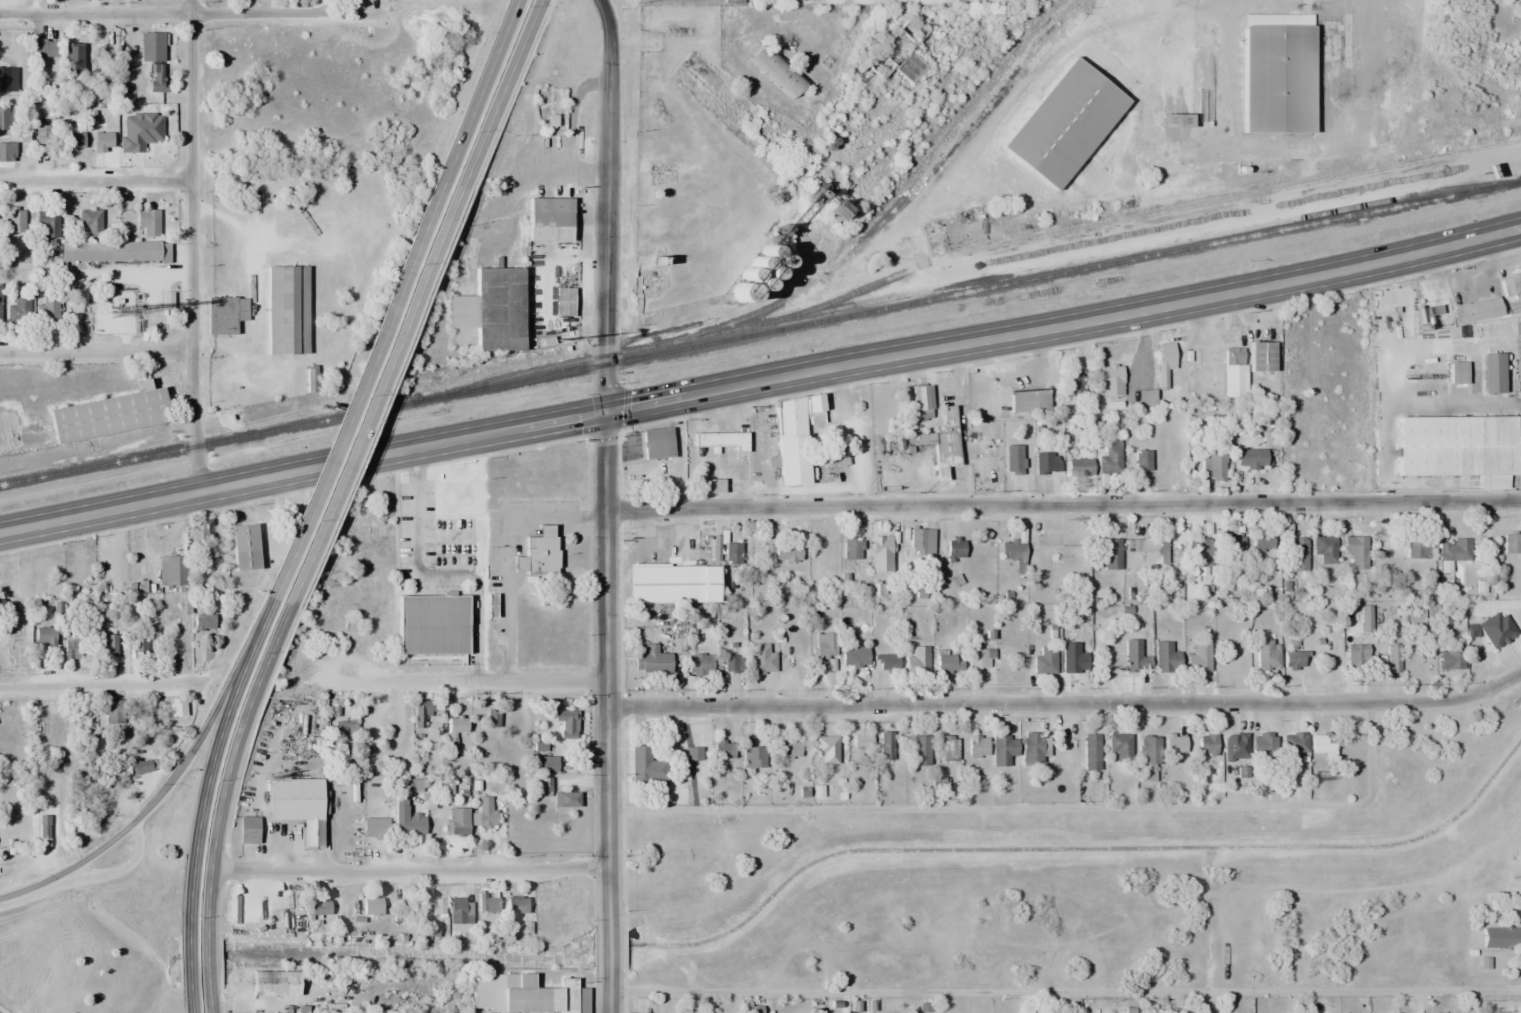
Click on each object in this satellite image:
road: (187, 13)
building: (154, 46)
building: (43, 48)
building: (72, 54)
building: (1276, 73)
building: (159, 75)
building: (7, 79)
road: (492, 92)
building: (5, 118)
building: (1063, 123)
building: (40, 135)
building: (73, 140)
building: (102, 142)
building: (5, 152)
road: (96, 181)
building: (548, 219)
building: (15, 220)
building: (147, 222)
building: (46, 223)
building: (90, 223)
road: (192, 245)
building: (114, 251)
building: (17, 307)
building: (113, 308)
building: (46, 309)
building: (240, 309)
building: (286, 309)
building: (490, 309)
building: (1475, 310)
railway: (759, 328)
road: (96, 351)
building: (1260, 356)
building: (1233, 373)
building: (1109, 379)
road: (761, 382)
building: (1071, 383)
road: (367, 393)
building: (1029, 401)
building: (921, 402)
traffic signals: (604, 412)
building: (108, 414)
building: (793, 429)
building: (720, 440)
building: (656, 443)
building: (945, 443)
building: (1456, 447)
building: (1110, 458)
building: (1250, 458)
road: (604, 460)
building: (1013, 460)
building: (1141, 460)
building: (1043, 464)
building: (1213, 464)
building: (1079, 467)
road: (1063, 505)
building: (205, 528)
building: (243, 537)
building: (1045, 539)
building: (921, 541)
building: (1262, 541)
building: (1512, 542)
building: (1417, 545)
building: (851, 548)
building: (954, 548)
building: (1012, 549)
building: (1200, 549)
building: (1228, 549)
building: (1325, 549)
building: (1454, 550)
building: (1155, 551)
building: (537, 552)
building: (782, 552)
building: (1356, 552)
building: (1109, 553)
building: (1297, 554)
building: (881, 557)
building: (173, 571)
building: (1456, 575)
building: (680, 578)
building: (1415, 618)
building: (204, 622)
building: (429, 625)
road: (268, 632)
building: (44, 636)
building: (823, 645)
building: (109, 646)
building: (73, 647)
building: (1266, 654)
building: (854, 657)
building: (1134, 657)
building: (1356, 657)
building: (1450, 657)
building: (1073, 658)
building: (1166, 659)
building: (1199, 659)
building: (1393, 659)
building: (653, 660)
building: (762, 660)
building: (977, 660)
building: (1294, 660)
building: (917, 661)
building: (1045, 661)
building: (887, 663)
building: (712, 664)
building: (948, 664)
road: (465, 682)
road: (101, 684)
road: (1066, 703)
building: (422, 709)
building: (566, 723)
building: (862, 739)
building: (1293, 743)
building: (1321, 743)
building: (1206, 744)
building: (886, 745)
building: (1174, 745)
building: (977, 746)
building: (1235, 746)
building: (1263, 746)
building: (1031, 747)
building: (1119, 747)
building: (827, 748)
building: (948, 748)
building: (789, 749)
building: (919, 749)
building: (1003, 749)
building: (1149, 749)
building: (723, 750)
building: (1091, 751)
building: (693, 753)
building: (752, 753)
building: (547, 763)
building: (647, 766)
road: (168, 782)
building: (544, 786)
building: (565, 799)
building: (297, 804)
building: (486, 811)
building: (414, 824)
building: (374, 827)
building: (456, 827)
road: (208, 833)
building: (1520, 839)
road: (113, 868)
road: (406, 871)
road: (26, 889)
building: (490, 903)
building: (515, 904)
building: (318, 906)
building: (371, 906)
building: (460, 909)
building: (402, 912)
building: (1501, 936)
road: (609, 947)
building: (273, 982)
road: (1065, 990)
road: (609, 991)
building: (527, 995)

